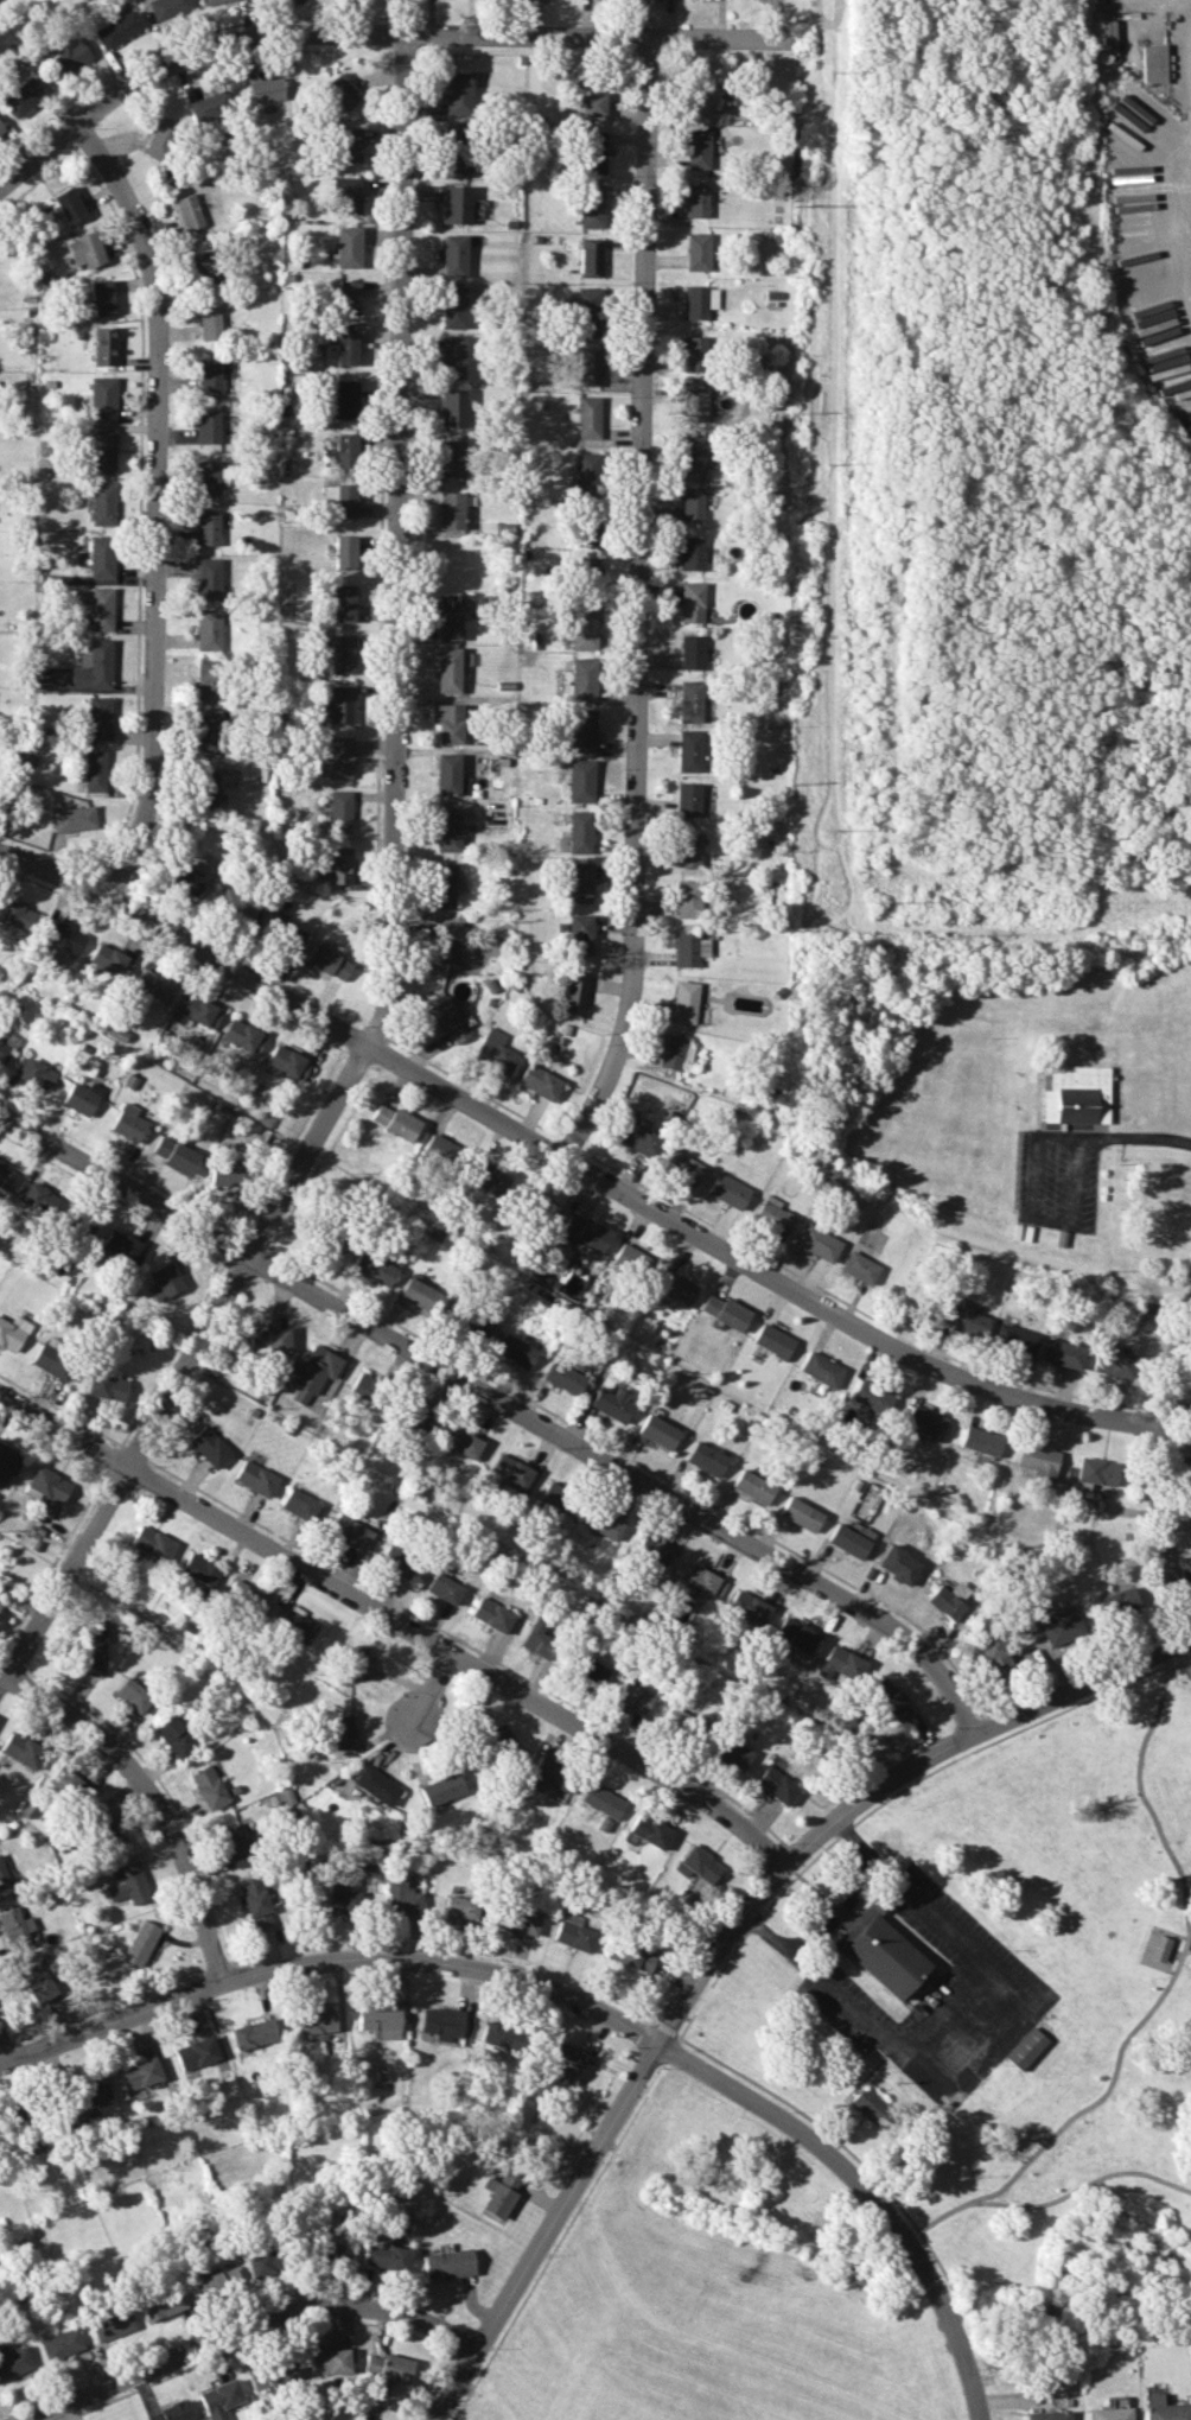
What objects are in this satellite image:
building: (210, 1)
building: (166, 8)
building: (117, 30)
road: (374, 33)
building: (70, 58)
building: (1151, 63)
power tower: (830, 71)
building: (266, 90)
building: (342, 90)
building: (458, 94)
building: (21, 96)
building: (705, 97)
building: (590, 100)
building: (210, 106)
building: (0, 129)
building: (159, 138)
building: (349, 145)
building: (454, 150)
building: (696, 150)
building: (590, 152)
building: (345, 195)
building: (695, 201)
building: (454, 204)
building: (68, 205)
building: (590, 207)
building: (187, 211)
building: (346, 247)
building: (84, 250)
building: (695, 252)
building: (453, 255)
building: (588, 258)
building: (204, 266)
building: (101, 298)
building: (348, 298)
building: (698, 301)
building: (454, 307)
building: (209, 322)
building: (103, 347)
building: (346, 349)
building: (690, 352)
building: (453, 357)
building: (587, 367)
building: (209, 375)
building: (102, 396)
building: (344, 400)
building: (694, 405)
building: (452, 407)
building: (585, 418)
building: (208, 426)
building: (102, 451)
building: (342, 452)
building: (693, 455)
building: (452, 458)
power tower: (827, 461)
building: (587, 472)
building: (210, 476)
building: (340, 498)
building: (101, 503)
building: (692, 503)
road: (158, 507)
building: (451, 510)
building: (208, 528)
building: (486, 528)
building: (585, 533)
building: (344, 552)
building: (690, 553)
building: (100, 557)
building: (585, 570)
building: (208, 578)
building: (692, 602)
building: (343, 603)
road: (638, 605)
building: (101, 609)
building: (448, 616)
building: (582, 629)
building: (208, 630)
building: (692, 652)
building: (343, 654)
building: (95, 666)
building: (448, 669)
building: (581, 679)
building: (206, 680)
building: (690, 701)
building: (340, 704)
building: (100, 718)
building: (448, 724)
building: (581, 730)
building: (208, 733)
building: (689, 751)
building: (338, 757)
building: (93, 771)
building: (450, 775)
building: (580, 781)
building: (206, 789)
building: (688, 800)
building: (339, 811)
building: (72, 819)
building: (447, 831)
power tower: (827, 831)
building: (580, 832)
building: (688, 849)
building: (339, 865)
building: (185, 877)
building: (579, 882)
building: (444, 885)
power tower: (872, 897)
building: (687, 898)
building: (236, 904)
road: (394, 904)
building: (15, 915)
building: (281, 933)
building: (579, 934)
building: (66, 938)
building: (445, 942)
building: (688, 948)
building: (109, 961)
building: (327, 963)
building: (155, 985)
building: (574, 995)
building: (683, 1002)
building: (197, 1012)
building: (447, 1020)
building: (243, 1036)
building: (4, 1052)
building: (493, 1052)
building: (675, 1053)
building: (286, 1063)
building: (33, 1072)
building: (540, 1082)
building: (1078, 1095)
building: (81, 1097)
building: (395, 1122)
building: (127, 1123)
road: (1138, 1133)
building: (639, 1139)
building: (438, 1149)
building: (174, 1155)
road: (571, 1162)
building: (682, 1165)
building: (225, 1173)
building: (5, 1175)
building: (485, 1179)
building: (727, 1190)
building: (34, 1196)
road: (1037, 1213)
building: (773, 1215)
building: (81, 1225)
building: (586, 1234)
building: (817, 1243)
building: (122, 1247)
building: (631, 1262)
building: (859, 1268)
building: (374, 1269)
building: (164, 1281)
building: (675, 1288)
building: (420, 1296)
building: (724, 1311)
building: (964, 1320)
building: (473, 1326)
building: (12, 1332)
building: (1014, 1339)
building: (268, 1340)
building: (772, 1341)
building: (516, 1351)
building: (1062, 1353)
building: (1114, 1360)
building: (52, 1361)
building: (820, 1370)
building: (313, 1373)
building: (562, 1378)
building: (362, 1384)
building: (106, 1386)
building: (871, 1397)
road: (508, 1403)
building: (611, 1404)
building: (418, 1416)
building: (924, 1422)
building: (657, 1433)
building: (980, 1441)
building: (464, 1443)
building: (208, 1447)
building: (706, 1459)
building: (8, 1461)
building: (1037, 1462)
building: (508, 1473)
building: (1094, 1473)
road: (1158, 1473)
building: (255, 1479)
building: (46, 1485)
building: (752, 1486)
building: (556, 1495)
building: (300, 1505)
building: (800, 1514)
building: (609, 1525)
building: (350, 1533)
building: (849, 1541)
building: (151, 1543)
building: (654, 1551)
building: (396, 1561)
building: (897, 1564)
building: (198, 1569)
building: (703, 1581)
building: (444, 1588)
building: (246, 1598)
building: (0, 1599)
building: (1117, 1602)
building: (945, 1603)
building: (749, 1608)
building: (491, 1614)
road: (400, 1618)
building: (292, 1622)
building: (1062, 1631)
building: (795, 1635)
building: (539, 1638)
building: (93, 1647)
building: (993, 1654)
building: (356, 1663)
building: (840, 1664)
building: (588, 1670)
building: (132, 1695)
building: (632, 1697)
road: (434, 1698)
building: (890, 1700)
building: (342, 1732)
building: (173, 1736)
building: (499, 1739)
building: (21, 1749)
building: (730, 1753)
building: (552, 1774)
building: (69, 1785)
building: (376, 1785)
building: (775, 1785)
road: (883, 1785)
building: (208, 1786)
building: (441, 1789)
road: (160, 1791)
building: (600, 1802)
building: (106, 1830)
building: (649, 1831)
building: (234, 1842)
building: (699, 1865)
building: (4, 1882)
building: (127, 1884)
road: (859, 1884)
building: (401, 1899)
building: (255, 1900)
building: (345, 1903)
building: (460, 1908)
road: (835, 1912)
building: (518, 1920)
building: (14, 1929)
road: (752, 1929)
building: (573, 1933)
road: (809, 1937)
building: (140, 1943)
building: (877, 1949)
building: (631, 1954)
road: (329, 1958)
park: (1047, 1980)
building: (37, 1981)
road: (942, 2005)
building: (380, 2019)
building: (314, 2021)
building: (441, 2022)
road: (1139, 2025)
building: (253, 2033)
road: (982, 2038)
road: (6, 2046)
building: (1024, 2049)
building: (195, 2052)
building: (561, 2063)
building: (139, 2073)
building: (219, 2088)
building: (93, 2090)
building: (868, 2104)
building: (499, 2193)
road: (864, 2194)
road: (974, 2200)
road: (548, 2229)
road: (909, 2236)
building: (331, 2251)
building: (384, 2254)
building: (261, 2262)
building: (448, 2263)
building: (215, 2282)
building: (161, 2304)
building: (112, 2325)
road: (254, 2333)
building: (62, 2343)
building: (329, 2361)
building: (14, 2362)
building: (388, 2367)
building: (272, 2374)
building: (219, 2399)
building: (1165, 2408)
building: (171, 2412)
building: (1046, 2415)

